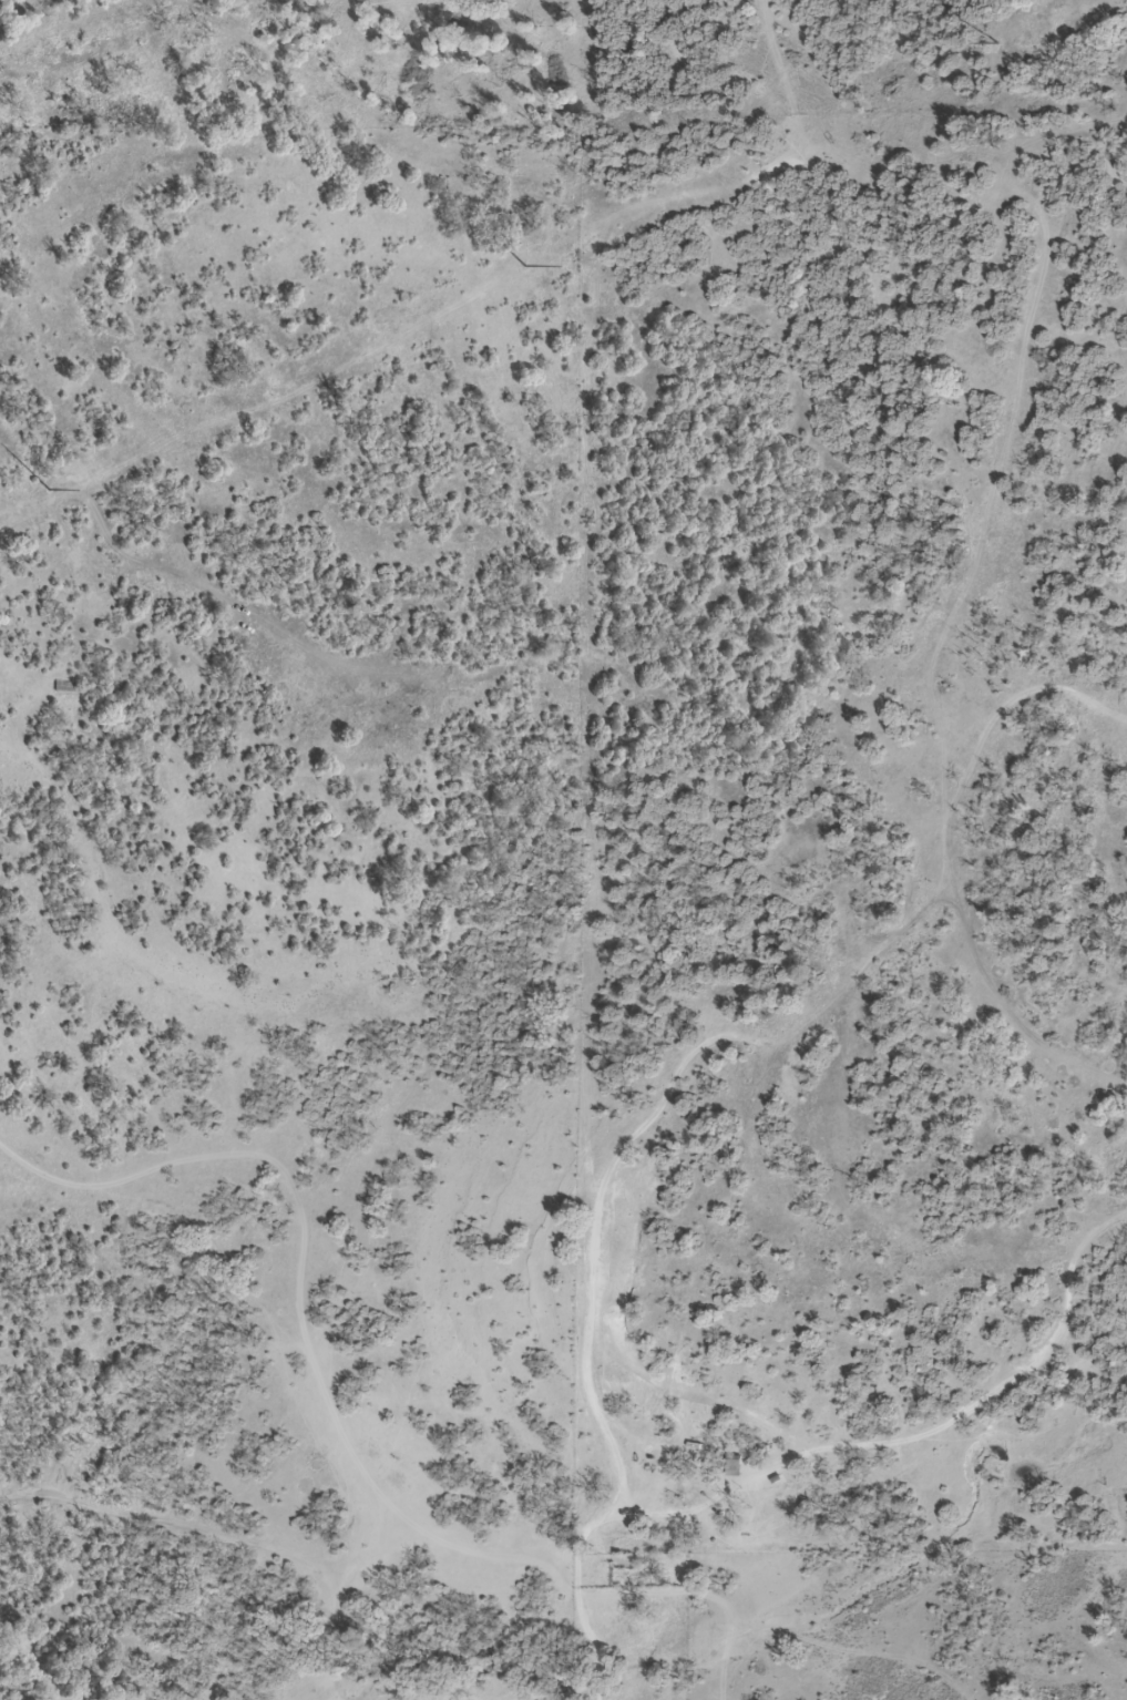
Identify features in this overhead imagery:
power tower: (998, 42)
power tower: (529, 265)
power tower: (52, 490)
road: (357, 1333)

